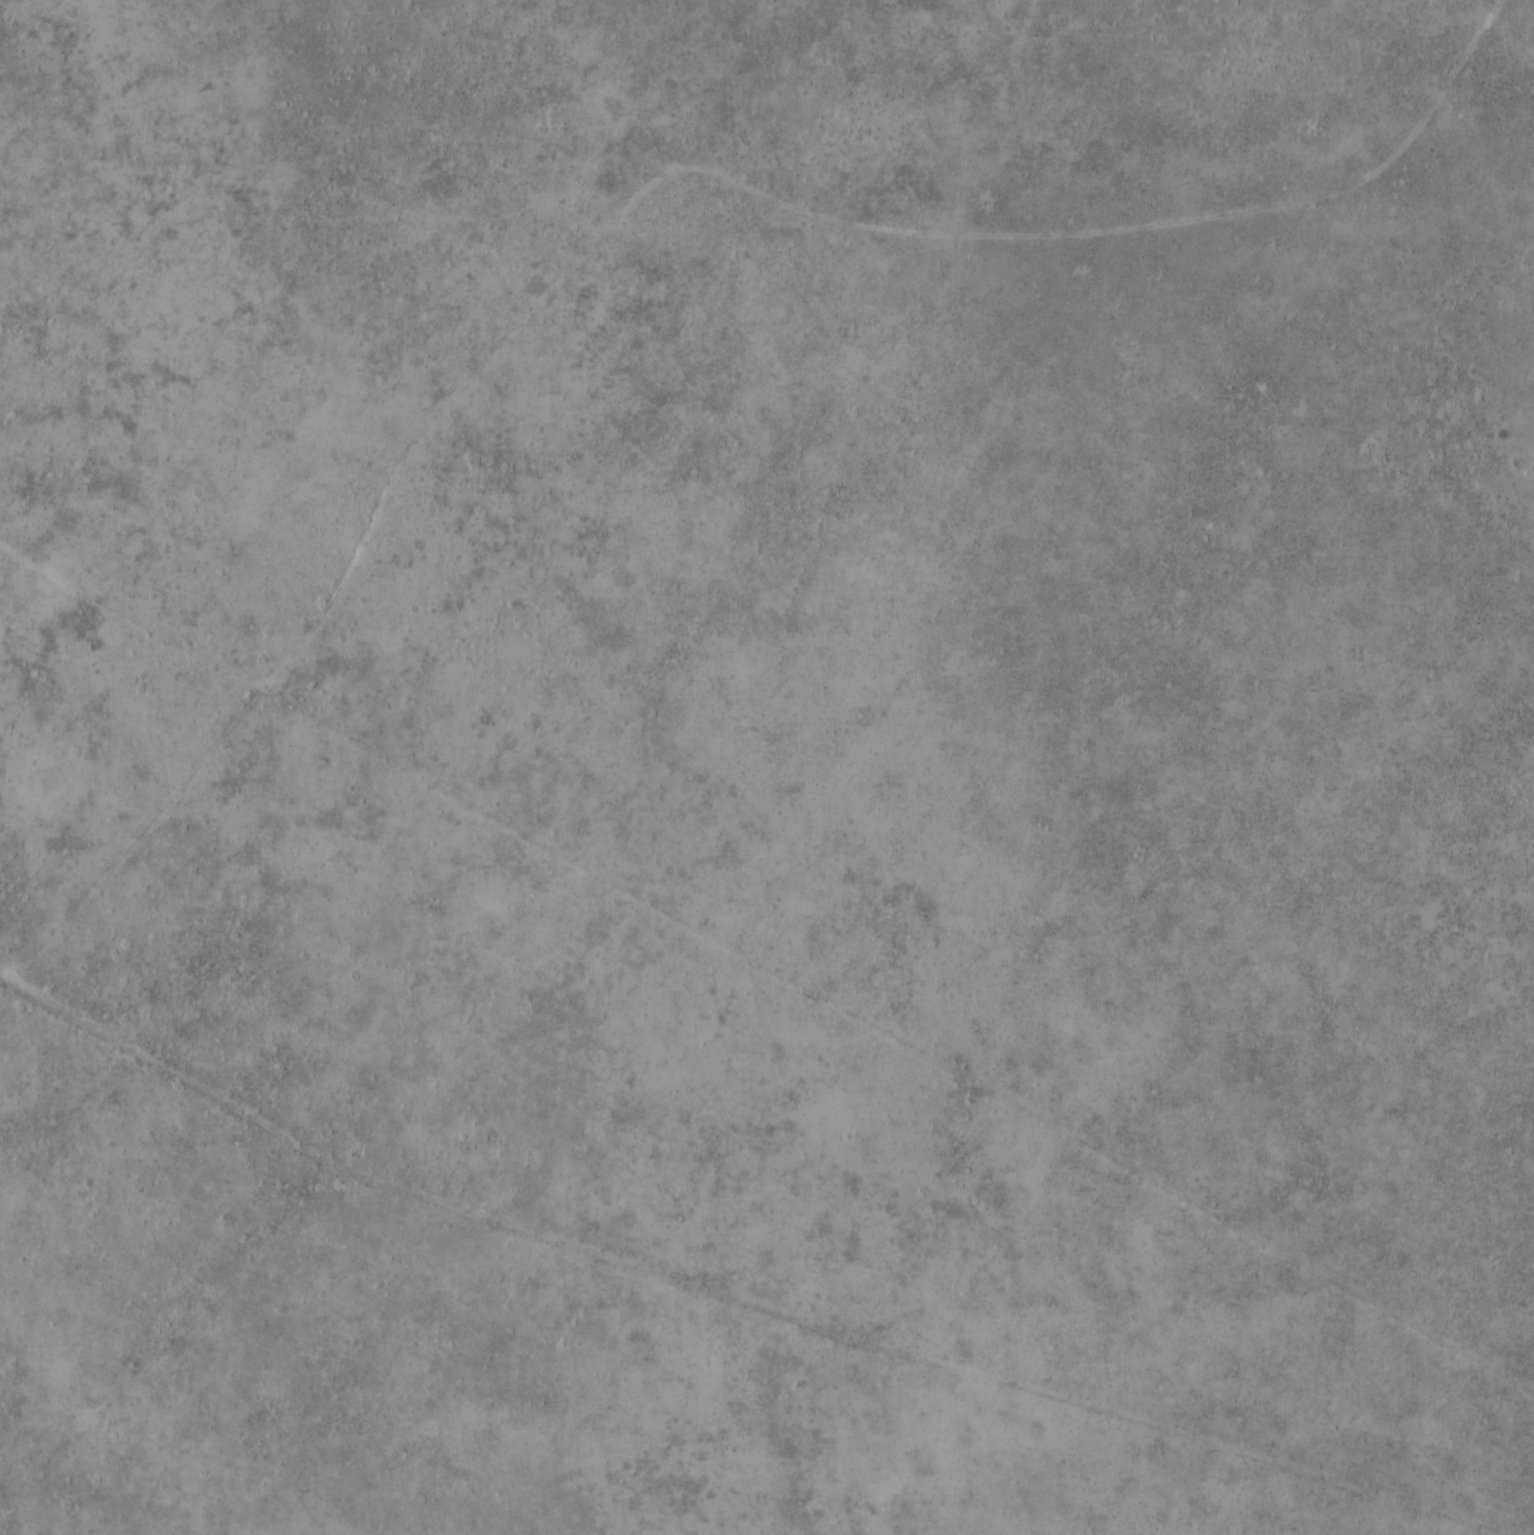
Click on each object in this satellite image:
road: (629, 219)
road: (701, 1316)

